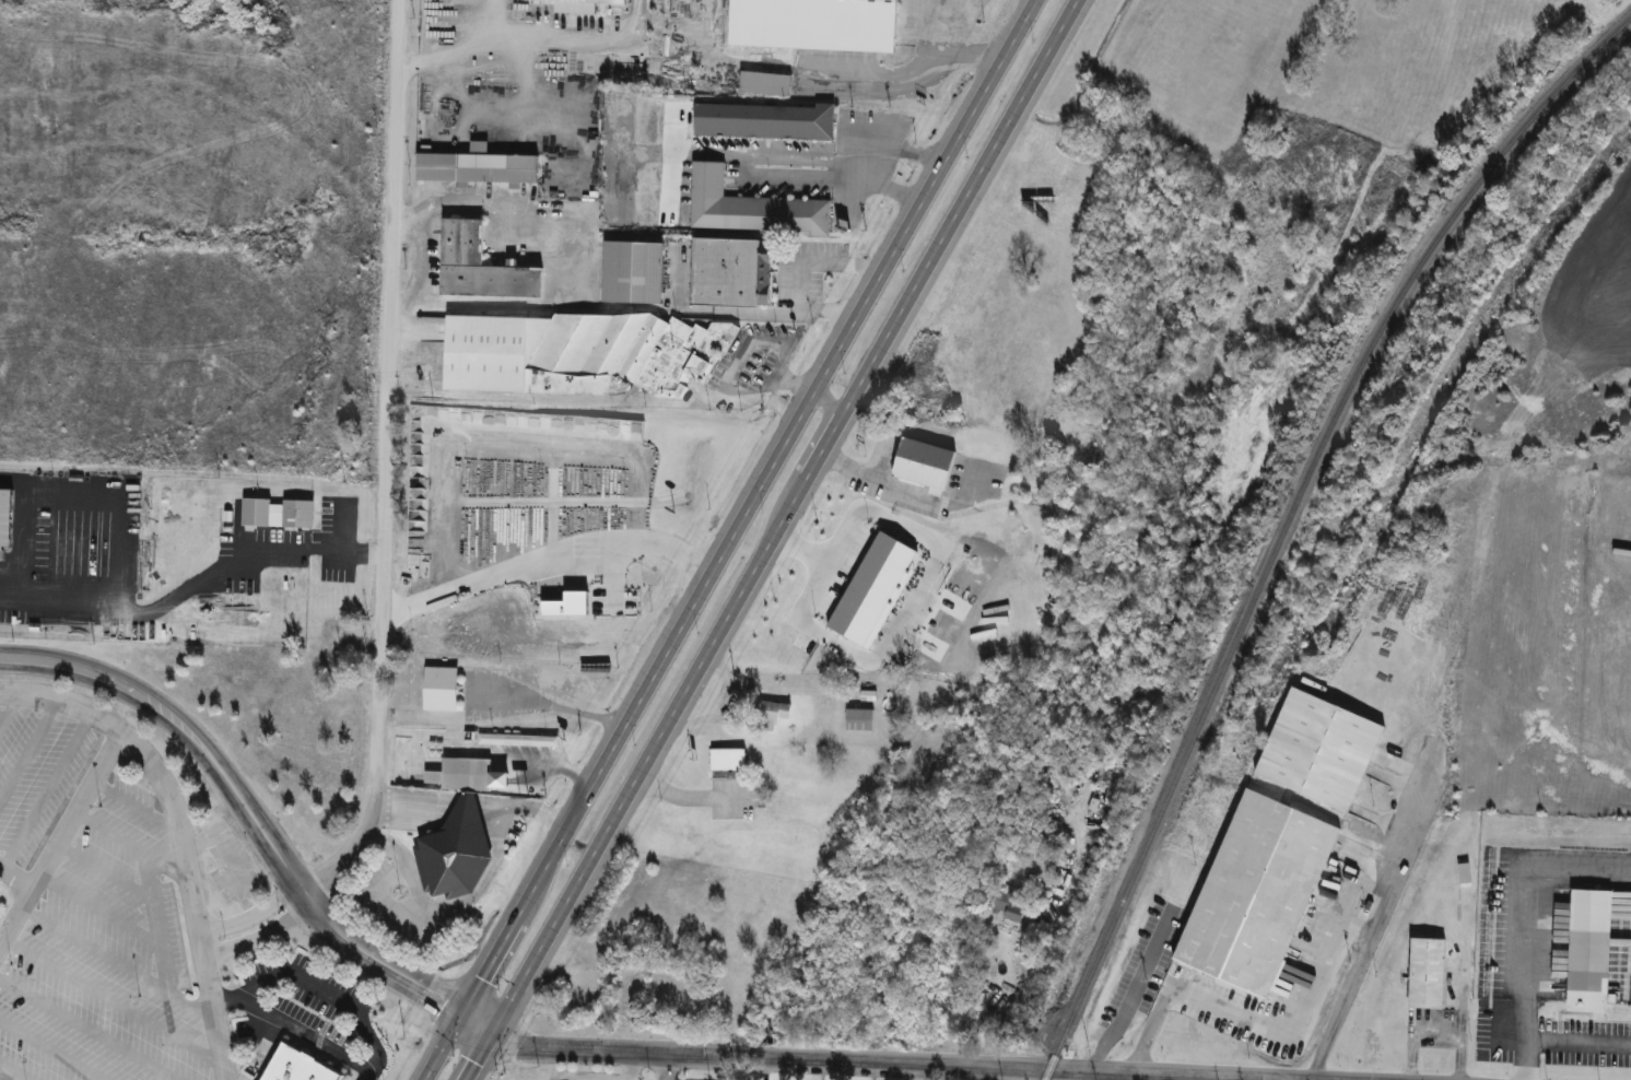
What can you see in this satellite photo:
building: (576, 5)
building: (810, 24)
road: (424, 62)
building: (761, 83)
building: (762, 121)
road: (900, 145)
building: (472, 168)
road: (834, 171)
building: (748, 207)
road: (416, 261)
building: (476, 267)
road: (807, 270)
building: (629, 271)
building: (725, 272)
building: (574, 352)
road: (793, 386)
road: (826, 403)
road: (383, 459)
building: (919, 462)
building: (275, 513)
building: (3, 516)
railway: (1284, 517)
road: (728, 539)
road: (768, 539)
road: (345, 552)
road: (543, 560)
road: (922, 583)
building: (869, 590)
road: (161, 606)
building: (437, 688)
building: (866, 694)
building: (767, 714)
building: (857, 718)
building: (500, 738)
building: (1318, 748)
building: (726, 759)
building: (465, 773)
building: (430, 776)
building: (1095, 798)
road: (254, 823)
road: (178, 835)
road: (58, 838)
building: (451, 852)
road: (16, 876)
road: (472, 891)
building: (1253, 893)
road: (1522, 909)
parking lot: (89, 914)
road: (251, 916)
road: (259, 936)
road: (1362, 941)
building: (1586, 951)
building: (1423, 973)
road: (318, 987)
road: (1125, 994)
parking lot: (298, 998)
road: (1247, 1011)
traffic signals: (460, 1014)
road: (1434, 1032)
traffic signals: (490, 1033)
road: (304, 1034)
road: (1560, 1042)
road: (867, 1063)
building: (294, 1066)
road: (627, 1067)
road: (671, 1068)
road: (993, 1073)
road: (1123, 1077)
road: (533, 1078)

